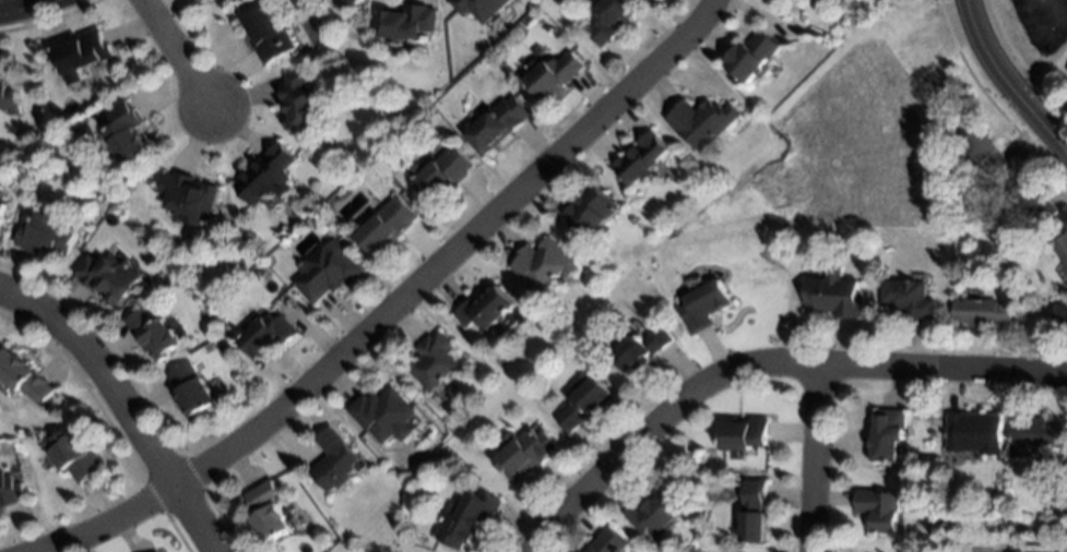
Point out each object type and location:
building: (201, 1)
building: (356, 2)
road: (23, 5)
building: (479, 8)
building: (612, 20)
building: (406, 23)
building: (268, 33)
park: (1032, 37)
building: (82, 51)
road: (175, 53)
building: (754, 56)
building: (533, 62)
building: (555, 74)
road: (1011, 76)
building: (7, 97)
building: (301, 103)
building: (703, 122)
building: (497, 124)
building: (126, 134)
building: (985, 152)
building: (641, 158)
building: (440, 172)
building: (266, 176)
building: (969, 177)
building: (189, 195)
building: (1033, 203)
building: (2, 207)
building: (948, 207)
building: (588, 209)
building: (386, 226)
building: (46, 236)
building: (1062, 249)
road: (453, 254)
building: (543, 263)
building: (327, 273)
building: (108, 277)
building: (834, 295)
building: (909, 299)
building: (703, 305)
building: (485, 308)
building: (983, 312)
building: (1066, 320)
building: (151, 334)
building: (265, 335)
building: (638, 348)
building: (431, 362)
road: (763, 365)
building: (23, 377)
building: (191, 391)
building: (584, 404)
road: (122, 406)
building: (382, 415)
building: (974, 432)
building: (887, 433)
building: (1035, 434)
building: (744, 435)
building: (524, 454)
building: (74, 455)
road: (817, 459)
building: (333, 461)
building: (9, 491)
building: (999, 508)
building: (880, 509)
building: (1060, 511)
building: (266, 512)
building: (754, 512)
building: (654, 513)
building: (465, 519)
road: (106, 524)
building: (608, 542)
building: (155, 551)

